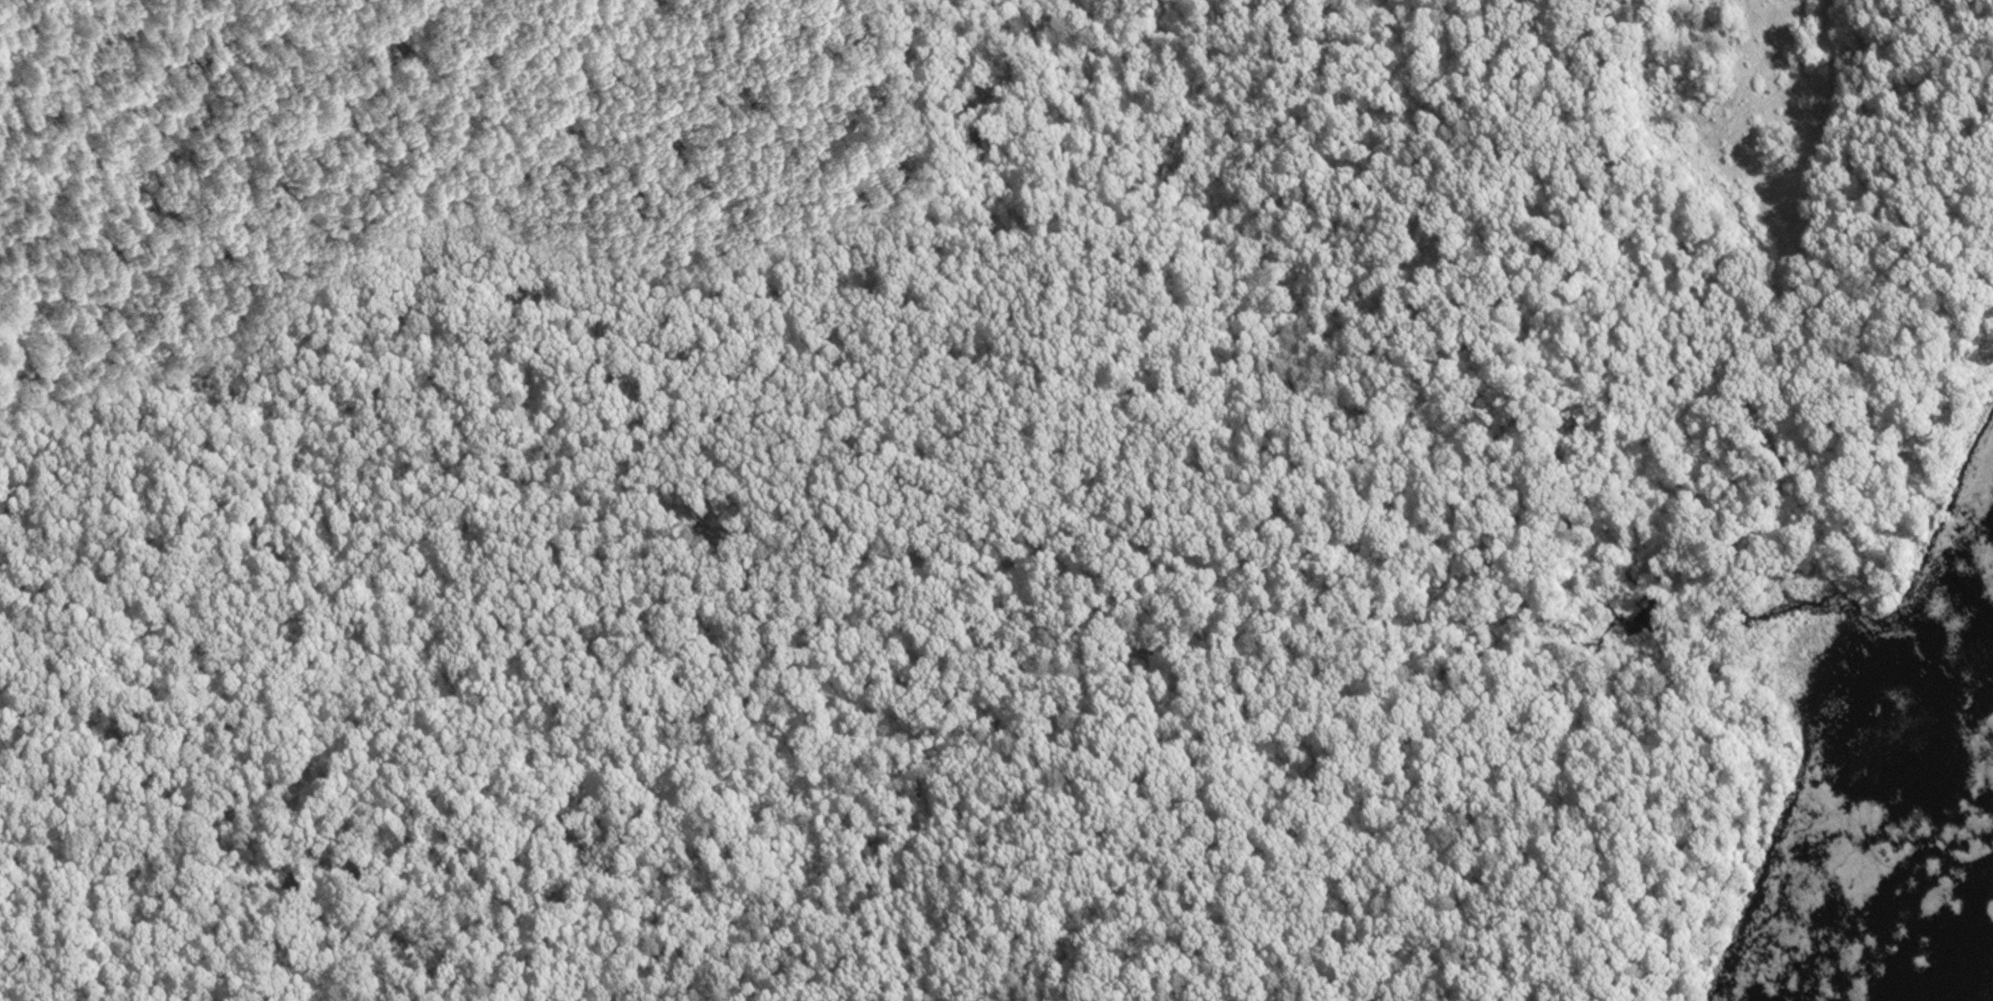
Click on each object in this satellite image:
road: (1414, 503)

